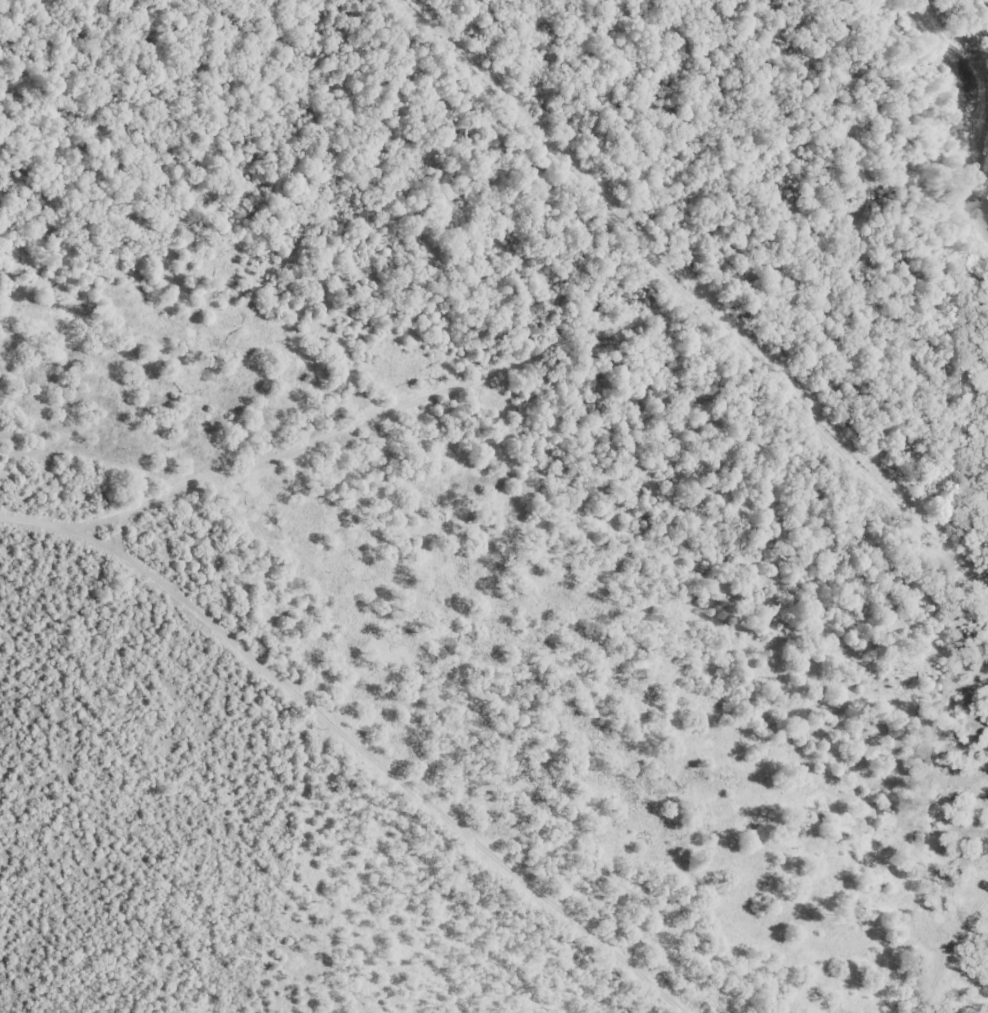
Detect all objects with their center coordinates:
river: (968, 47)
river: (985, 156)
road: (354, 750)

